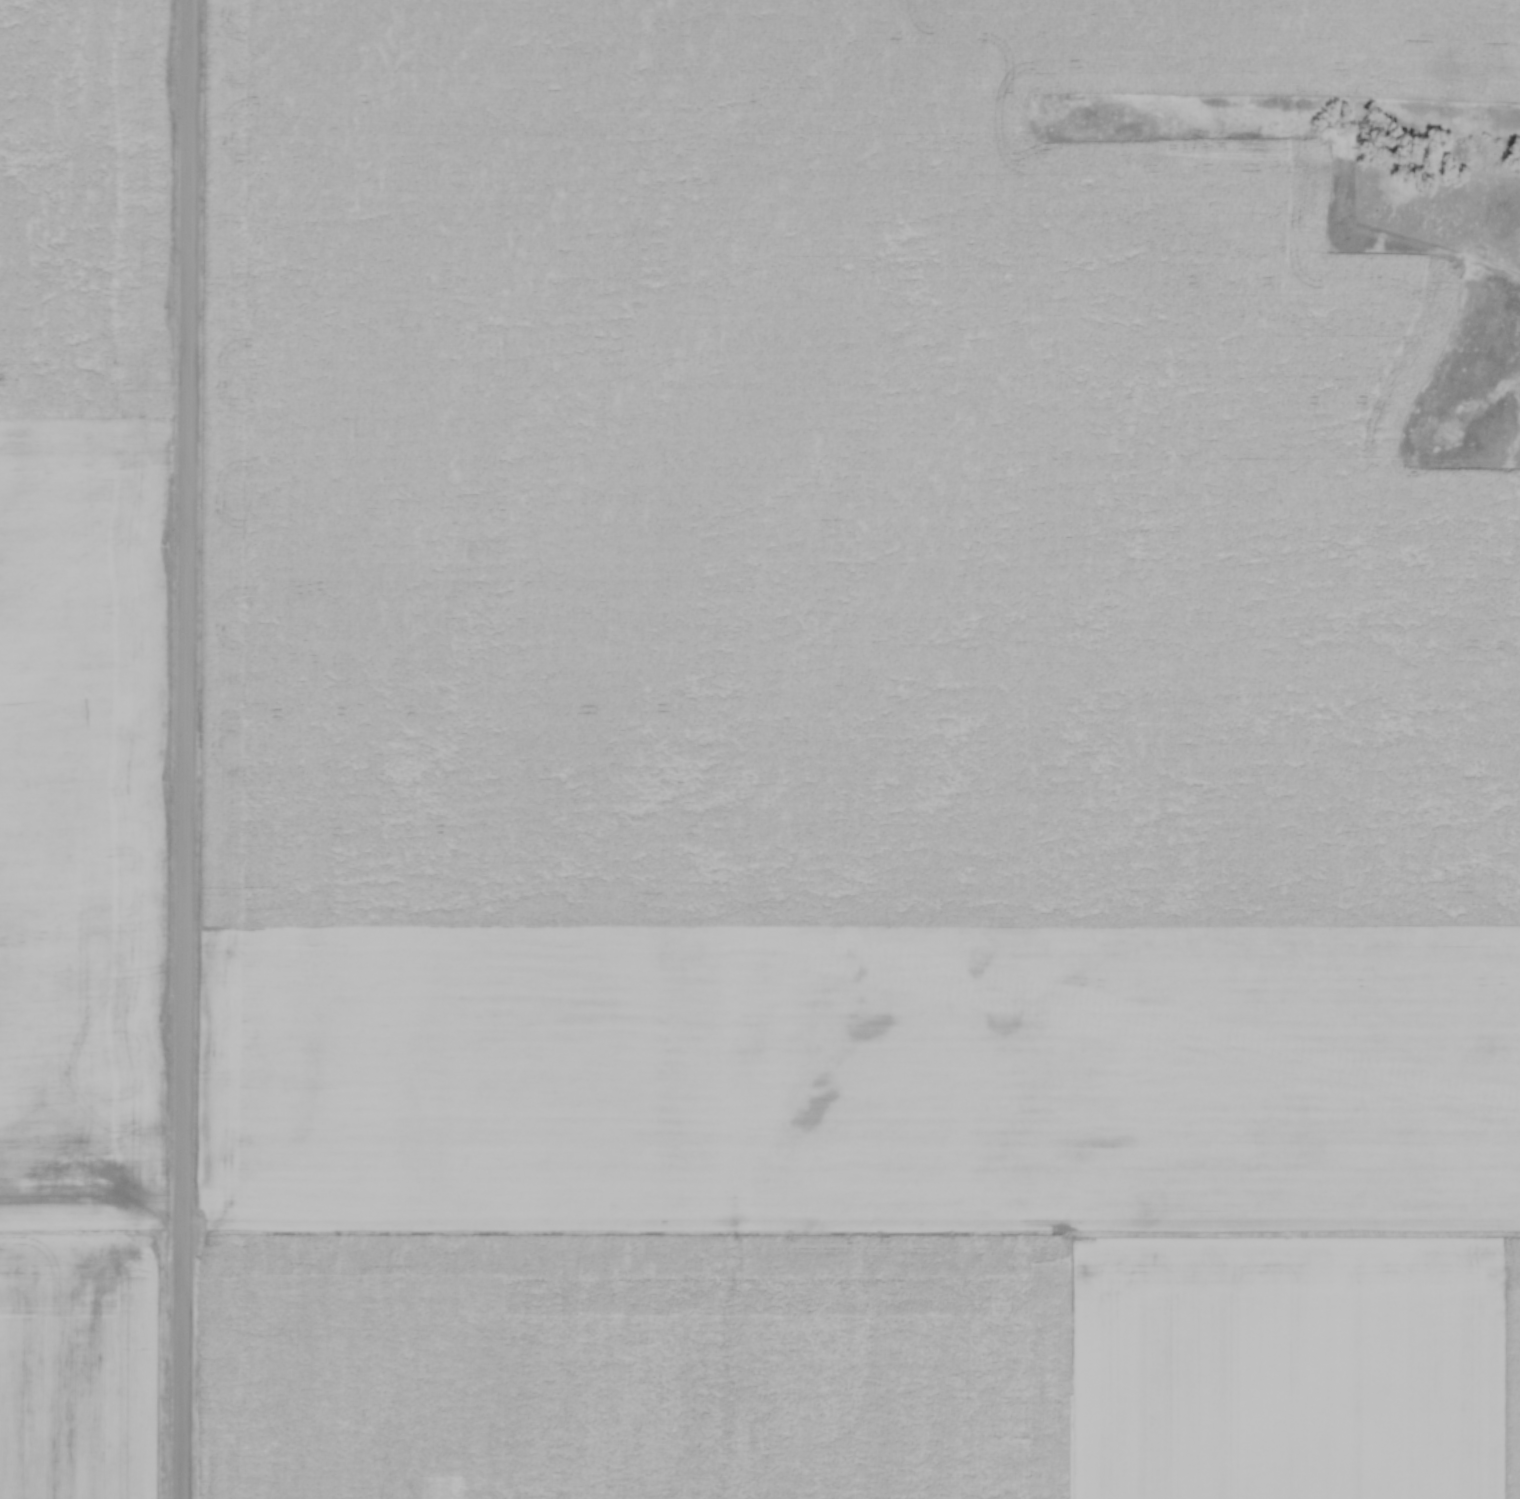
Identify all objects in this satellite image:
road: (186, 749)

